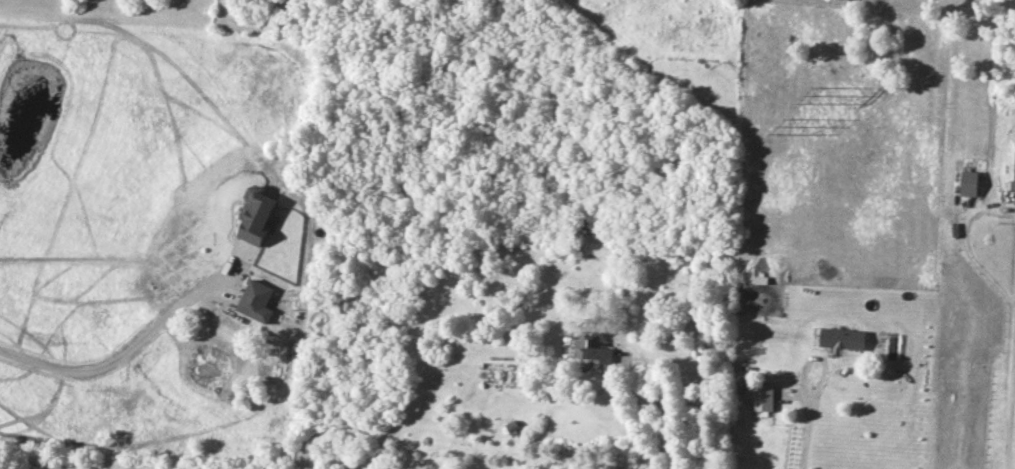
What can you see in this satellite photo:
power tower: (812, 95)
power tower: (784, 126)
building: (970, 184)
building: (257, 216)
building: (257, 302)
building: (844, 339)
building: (590, 348)
road: (123, 353)
road: (818, 354)
road: (642, 365)
building: (764, 398)
road: (1011, 403)
road: (811, 433)
road: (680, 466)

